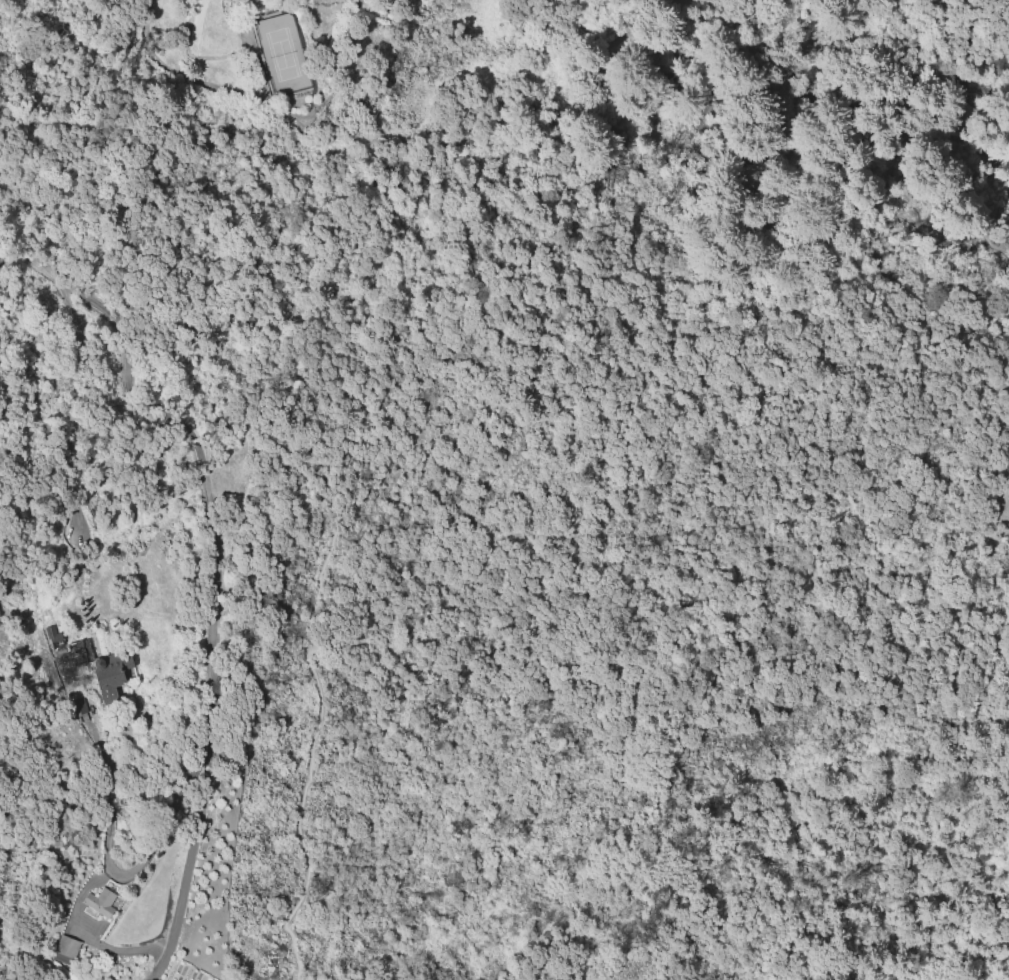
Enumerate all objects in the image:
road: (360, 432)
road: (214, 596)
building: (54, 635)
building: (71, 659)
building: (112, 672)
building: (78, 705)
building: (100, 903)
building: (68, 946)

